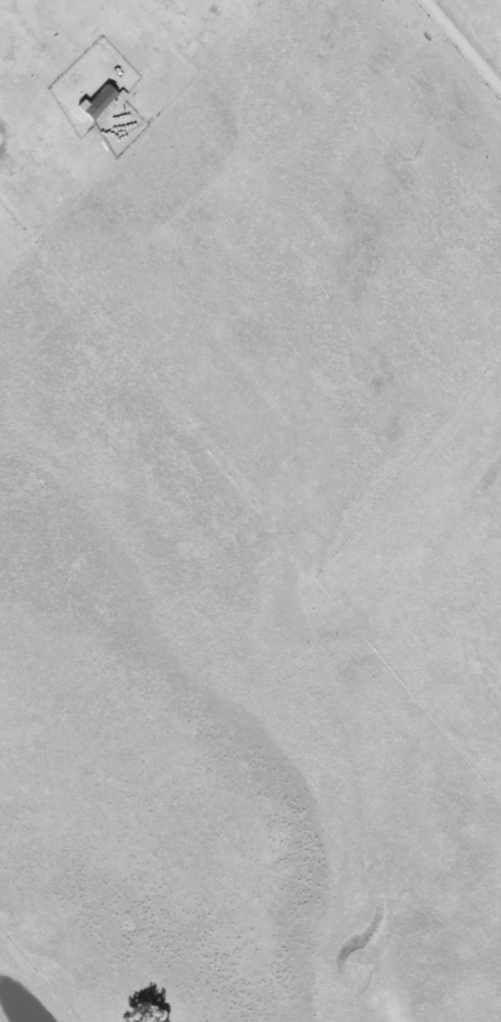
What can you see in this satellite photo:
road: (461, 46)
building: (96, 103)

